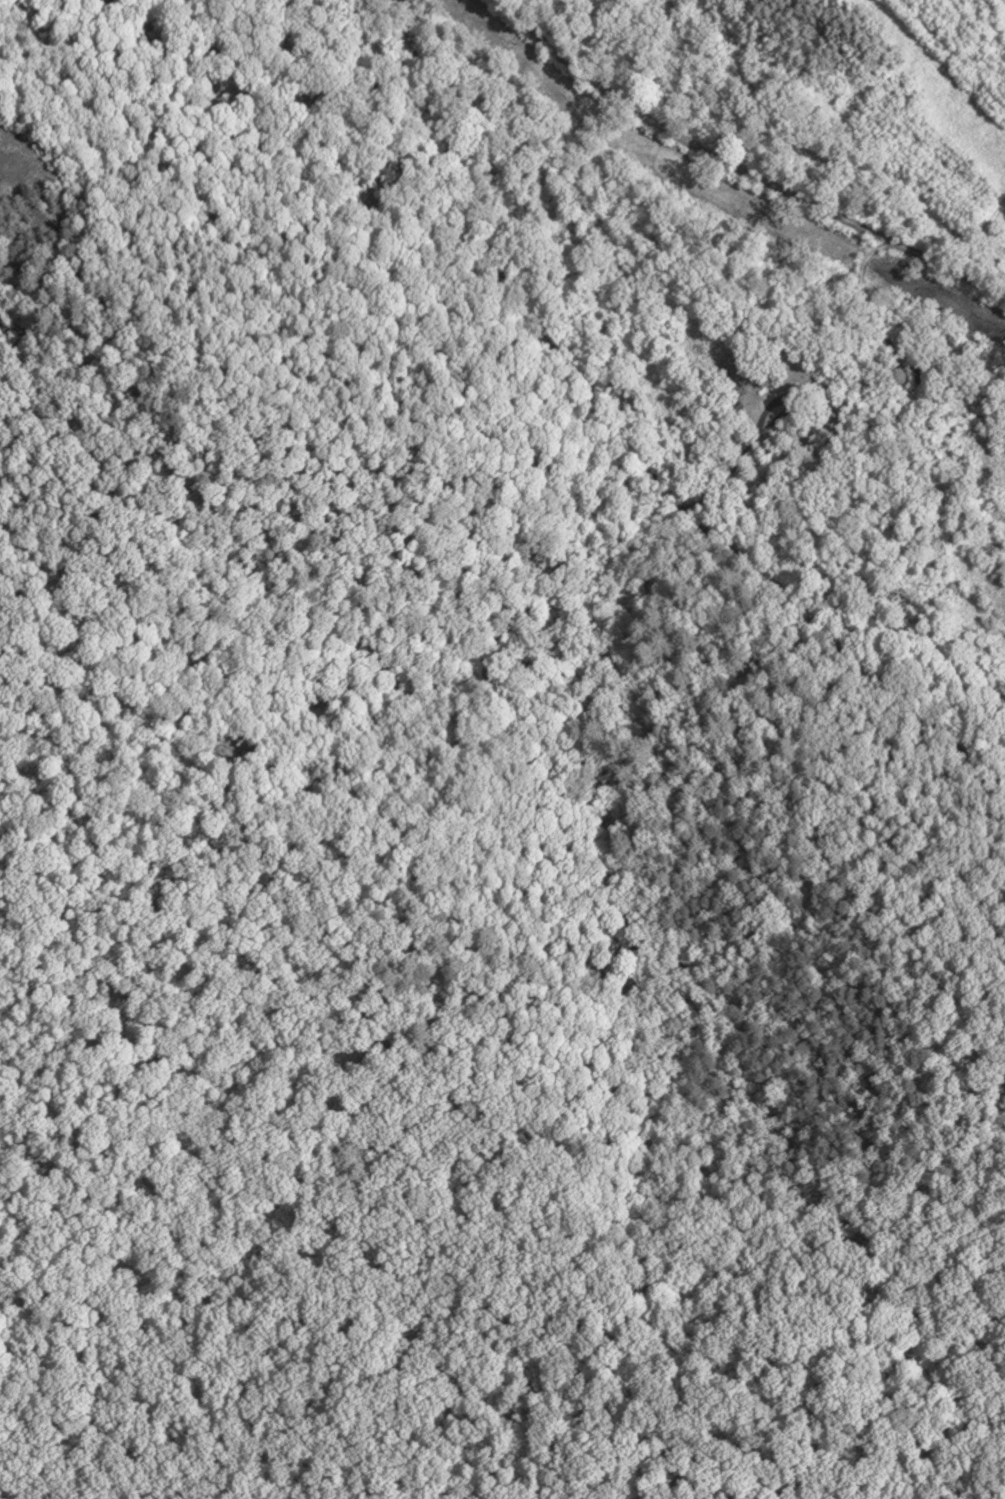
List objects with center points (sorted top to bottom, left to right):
road: (738, 169)
building: (922, 370)
building: (735, 378)
road: (793, 409)
road: (628, 449)

